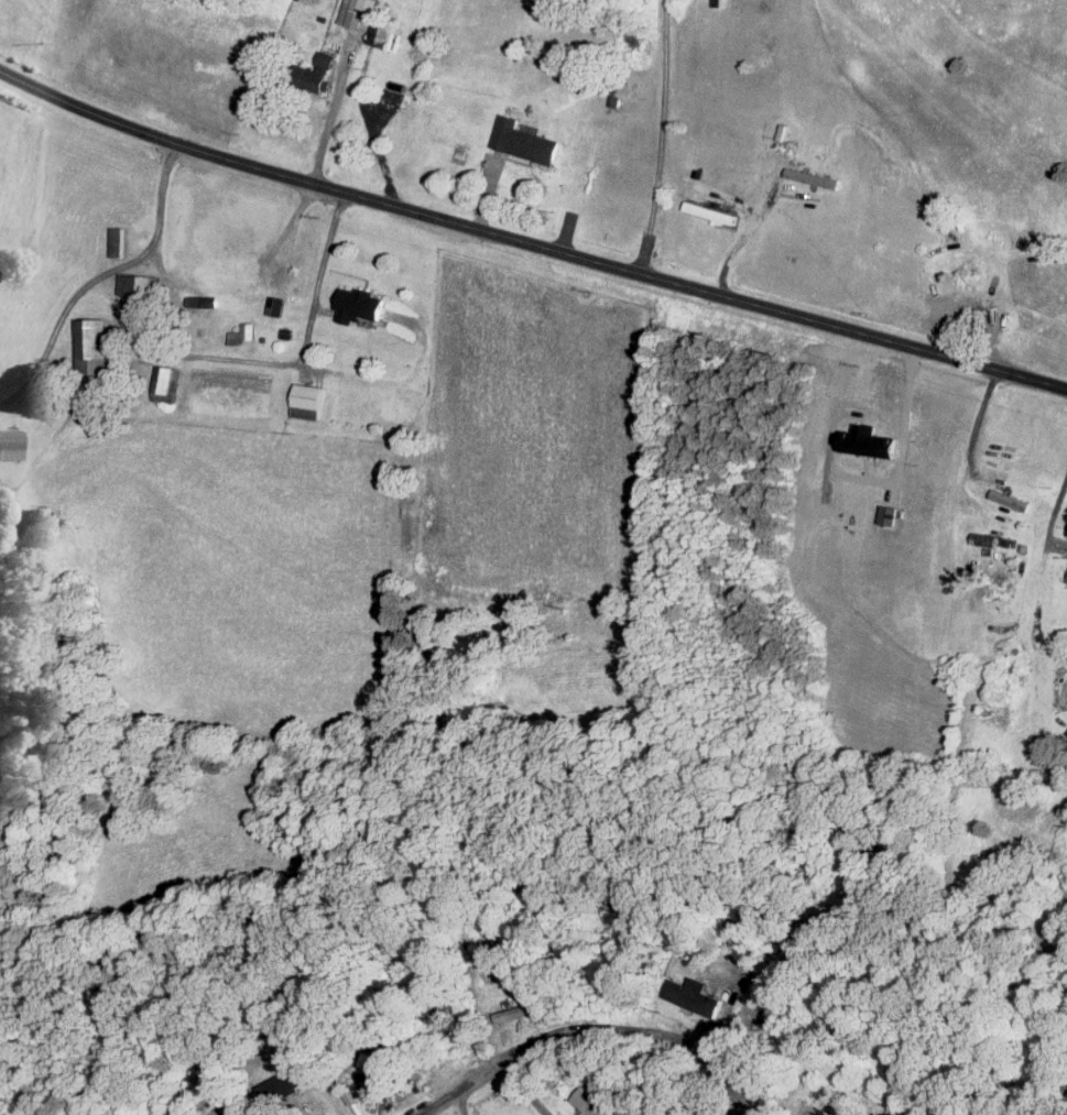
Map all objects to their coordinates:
building: (361, 3)
building: (380, 30)
building: (318, 73)
road: (333, 109)
road: (663, 136)
building: (523, 140)
building: (710, 211)
road: (739, 234)
building: (119, 240)
road: (529, 240)
road: (349, 273)
road: (100, 274)
building: (140, 283)
building: (203, 298)
building: (361, 303)
building: (277, 304)
building: (251, 329)
building: (288, 331)
building: (236, 336)
building: (264, 338)
building: (94, 345)
road: (231, 358)
building: (166, 376)
building: (177, 379)
building: (166, 394)
building: (311, 394)
building: (308, 411)
road: (977, 425)
building: (10, 442)
building: (1012, 499)
road: (1054, 513)
building: (987, 537)
building: (1009, 540)
building: (862, 833)
building: (868, 835)
building: (614, 906)
building: (497, 930)
building: (498, 942)
building: (470, 944)
building: (480, 949)
building: (406, 977)
building: (695, 996)
building: (435, 999)
building: (450, 1007)
building: (519, 1010)
road: (591, 1028)
building: (384, 1037)
building: (377, 1048)
building: (363, 1064)
building: (287, 1068)
building: (360, 1074)
building: (285, 1082)
building: (381, 1082)
building: (209, 1084)
building: (293, 1091)
building: (351, 1096)
building: (594, 1102)
building: (839, 1105)
building: (235, 1112)
building: (619, 1113)

